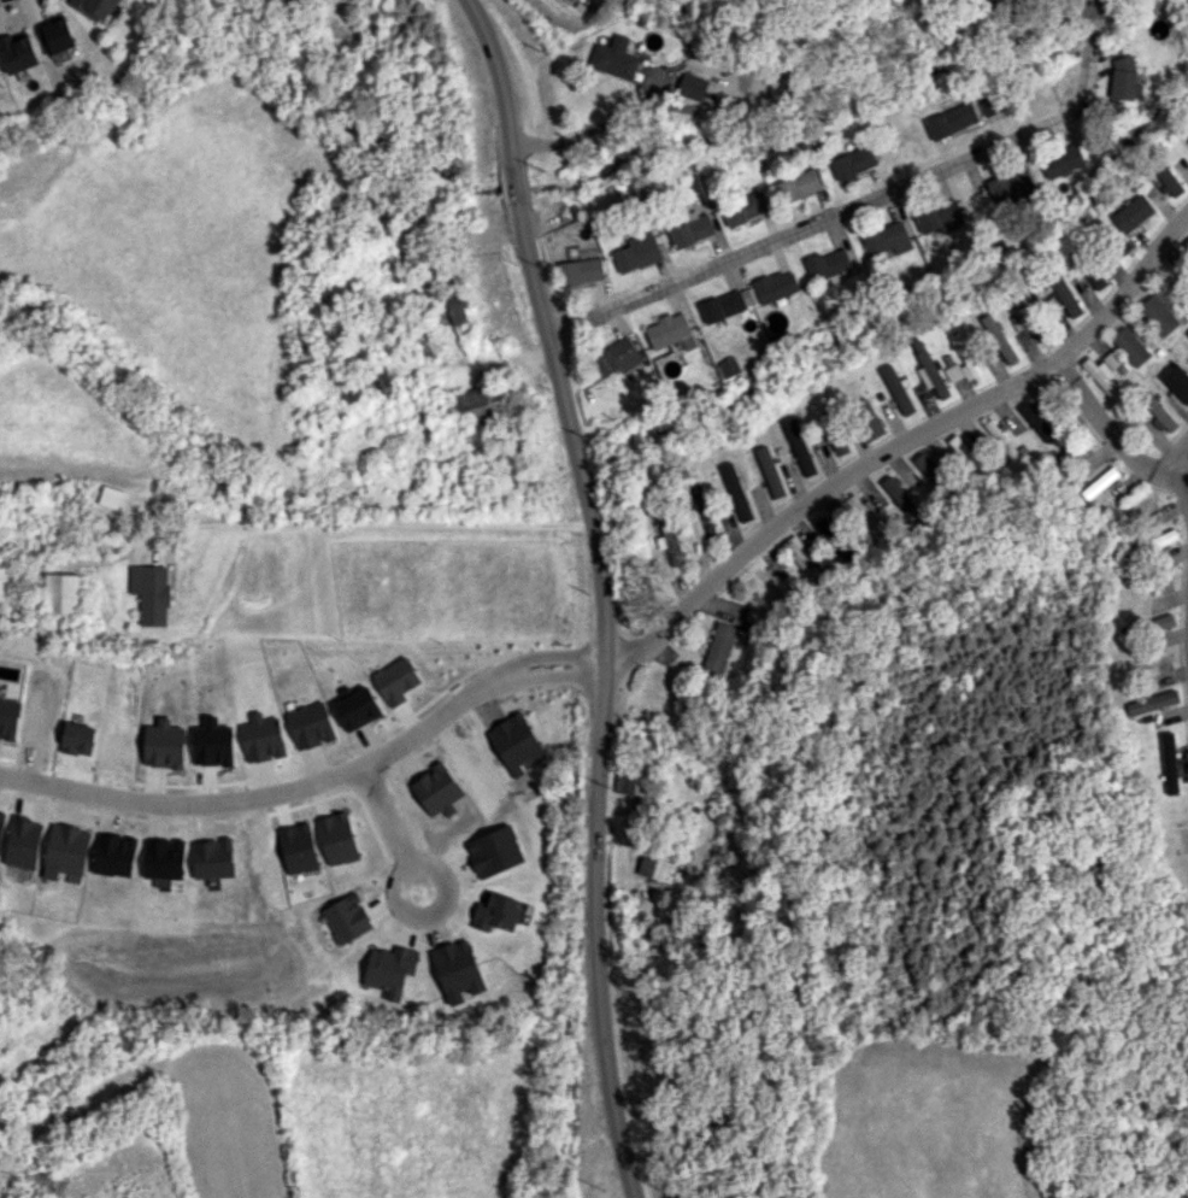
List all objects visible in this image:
building: (277, 0)
building: (571, 0)
building: (1001, 2)
building: (96, 7)
building: (57, 34)
building: (18, 52)
building: (613, 59)
building: (1124, 80)
building: (692, 86)
building: (989, 104)
building: (951, 121)
road: (593, 128)
building: (1061, 160)
building: (853, 162)
building: (1168, 180)
building: (1011, 183)
building: (799, 184)
road: (864, 202)
building: (745, 209)
building: (940, 216)
building: (690, 230)
building: (888, 240)
building: (1186, 245)
building: (636, 252)
building: (828, 264)
building: (581, 270)
building: (1096, 278)
building: (776, 286)
building: (1065, 295)
building: (725, 304)
building: (451, 307)
building: (1157, 315)
building: (670, 331)
building: (1187, 334)
building: (999, 337)
building: (427, 343)
building: (1130, 346)
building: (617, 357)
building: (964, 362)
building: (729, 366)
building: (930, 374)
building: (1104, 374)
building: (378, 380)
building: (1176, 381)
building: (351, 392)
building: (481, 403)
building: (1155, 410)
building: (869, 423)
road: (1104, 428)
building: (1001, 439)
road: (905, 441)
building: (799, 446)
building: (965, 454)
building: (929, 469)
road: (1168, 470)
building: (770, 471)
building: (1100, 482)
building: (736, 492)
building: (110, 497)
building: (700, 511)
building: (861, 512)
road: (366, 521)
building: (669, 541)
building: (1152, 544)
building: (801, 558)
road: (601, 592)
building: (61, 593)
building: (151, 593)
building: (1163, 622)
building: (722, 645)
building: (1152, 701)
building: (357, 709)
building: (310, 726)
building: (1169, 763)
building: (630, 777)
road: (318, 781)
building: (437, 789)
road: (392, 829)
building: (23, 842)
building: (67, 848)
building: (114, 855)
building: (212, 858)
building: (655, 868)
building: (496, 911)
building: (390, 969)

